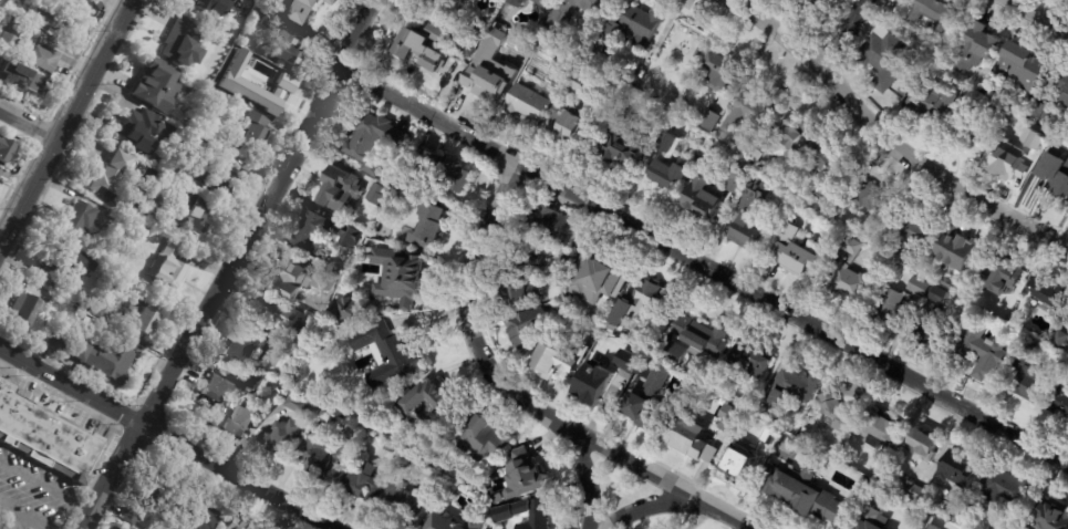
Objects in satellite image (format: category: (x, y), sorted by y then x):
building: (516, 2)
building: (542, 2)
building: (443, 3)
building: (809, 3)
building: (215, 7)
building: (308, 10)
building: (573, 12)
building: (930, 13)
road: (1036, 17)
building: (50, 20)
building: (269, 21)
building: (632, 29)
building: (499, 32)
road: (841, 34)
building: (8, 38)
building: (182, 45)
building: (558, 45)
building: (466, 46)
building: (291, 48)
building: (424, 48)
building: (977, 49)
building: (885, 58)
building: (42, 60)
building: (215, 62)
building: (691, 62)
building: (538, 63)
building: (1022, 69)
building: (724, 71)
building: (494, 73)
building: (21, 80)
building: (582, 83)
building: (235, 84)
building: (157, 86)
building: (1064, 92)
building: (935, 102)
building: (528, 104)
building: (217, 105)
building: (755, 110)
building: (1047, 114)
building: (1000, 115)
road: (64, 117)
building: (709, 121)
building: (970, 125)
road: (25, 126)
building: (568, 127)
building: (141, 131)
building: (791, 133)
building: (252, 135)
building: (1041, 137)
building: (622, 139)
road: (884, 141)
building: (374, 142)
building: (193, 145)
building: (4, 151)
building: (756, 156)
building: (1009, 157)
building: (667, 166)
building: (831, 167)
building: (443, 169)
building: (1055, 172)
building: (739, 176)
building: (113, 178)
building: (220, 179)
building: (341, 191)
building: (377, 195)
building: (875, 199)
building: (703, 203)
building: (154, 210)
building: (191, 212)
building: (751, 212)
building: (76, 221)
building: (547, 224)
building: (428, 227)
building: (124, 228)
building: (313, 235)
building: (911, 236)
building: (352, 238)
building: (579, 247)
building: (955, 251)
building: (795, 252)
building: (528, 258)
building: (344, 261)
building: (70, 262)
building: (567, 262)
road: (232, 266)
road: (702, 266)
building: (168, 269)
building: (1006, 274)
building: (287, 276)
building: (851, 277)
building: (597, 278)
building: (401, 279)
building: (981, 283)
building: (947, 284)
building: (916, 286)
building: (59, 289)
building: (517, 292)
building: (935, 295)
building: (1050, 295)
building: (642, 303)
building: (100, 308)
building: (350, 308)
building: (25, 309)
building: (890, 311)
building: (139, 318)
building: (282, 319)
building: (1016, 319)
building: (529, 324)
building: (930, 332)
building: (588, 334)
building: (1060, 341)
building: (59, 342)
building: (696, 342)
building: (245, 346)
building: (541, 349)
building: (985, 354)
building: (388, 355)
road: (485, 359)
building: (105, 361)
building: (749, 363)
building: (283, 365)
building: (1028, 378)
building: (279, 381)
building: (594, 383)
building: (220, 386)
building: (796, 387)
building: (653, 391)
building: (277, 401)
building: (1060, 401)
building: (299, 405)
building: (429, 408)
building: (836, 413)
building: (373, 416)
building: (730, 419)
building: (237, 423)
building: (880, 431)
building: (805, 433)
road: (167, 435)
building: (44, 436)
building: (282, 437)
building: (770, 437)
building: (484, 443)
building: (695, 443)
building: (923, 445)
building: (390, 449)
building: (322, 457)
building: (889, 457)
building: (407, 463)
building: (740, 465)
building: (958, 470)
building: (523, 475)
road: (657, 476)
building: (865, 484)
road: (48, 485)
building: (365, 485)
building: (1003, 489)
building: (154, 491)
building: (912, 491)
building: (803, 495)
road: (645, 507)
building: (953, 507)
building: (406, 508)
road: (25, 514)
building: (199, 515)
building: (527, 515)
building: (1051, 515)
building: (132, 516)
road: (701, 517)
building: (872, 519)
building: (440, 523)
building: (473, 523)
building: (239, 525)
road: (619, 525)
building: (929, 527)
building: (932, 527)
building: (123, 528)
building: (125, 528)

